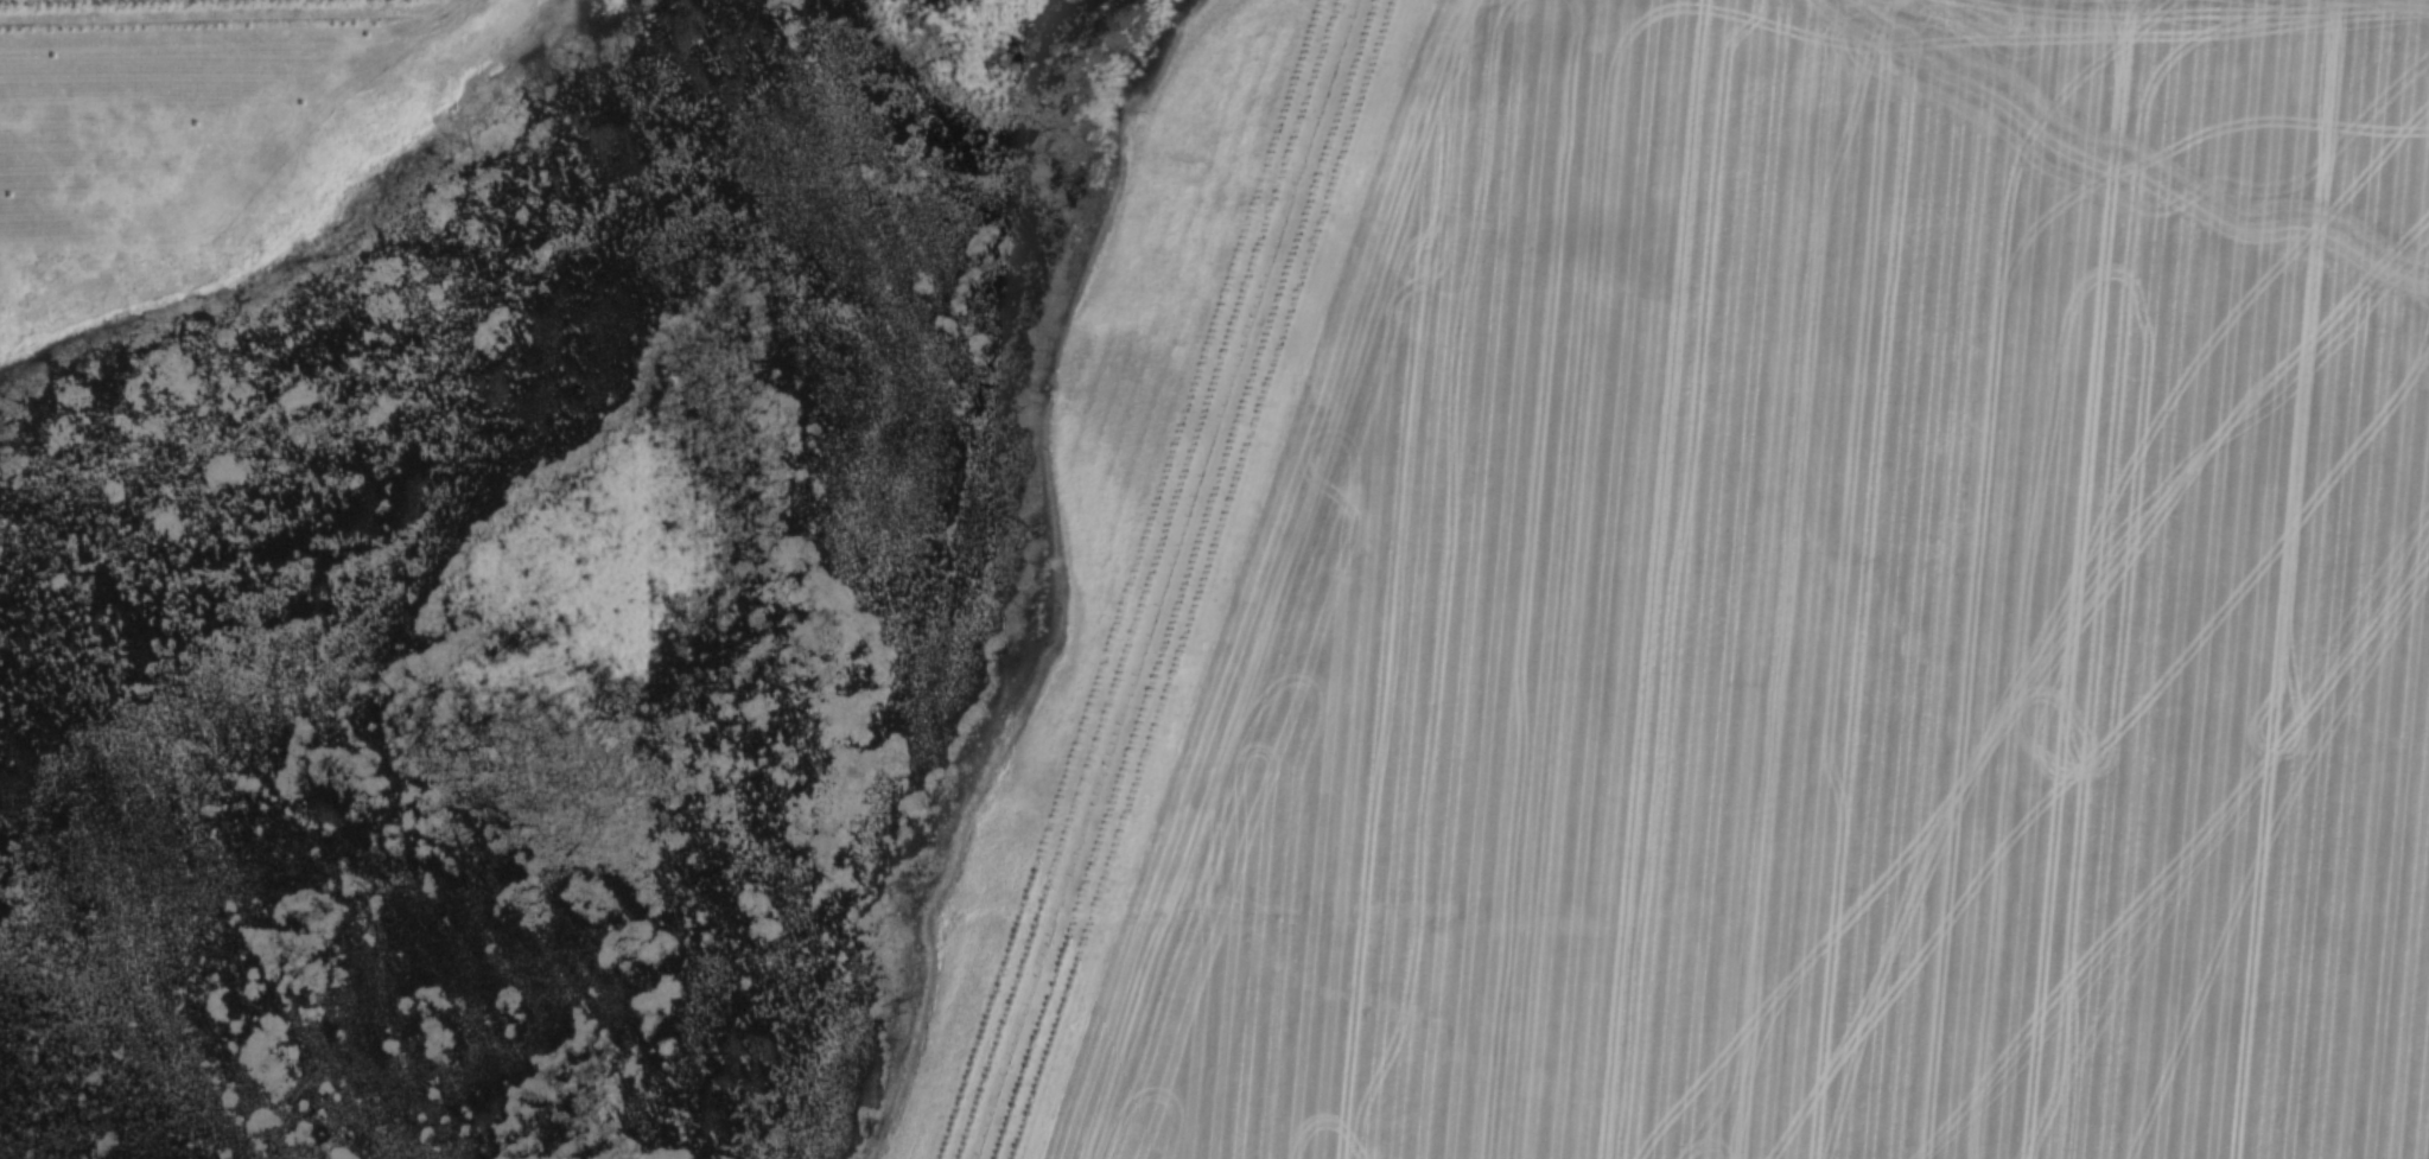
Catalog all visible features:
crop: (1833, 609)

